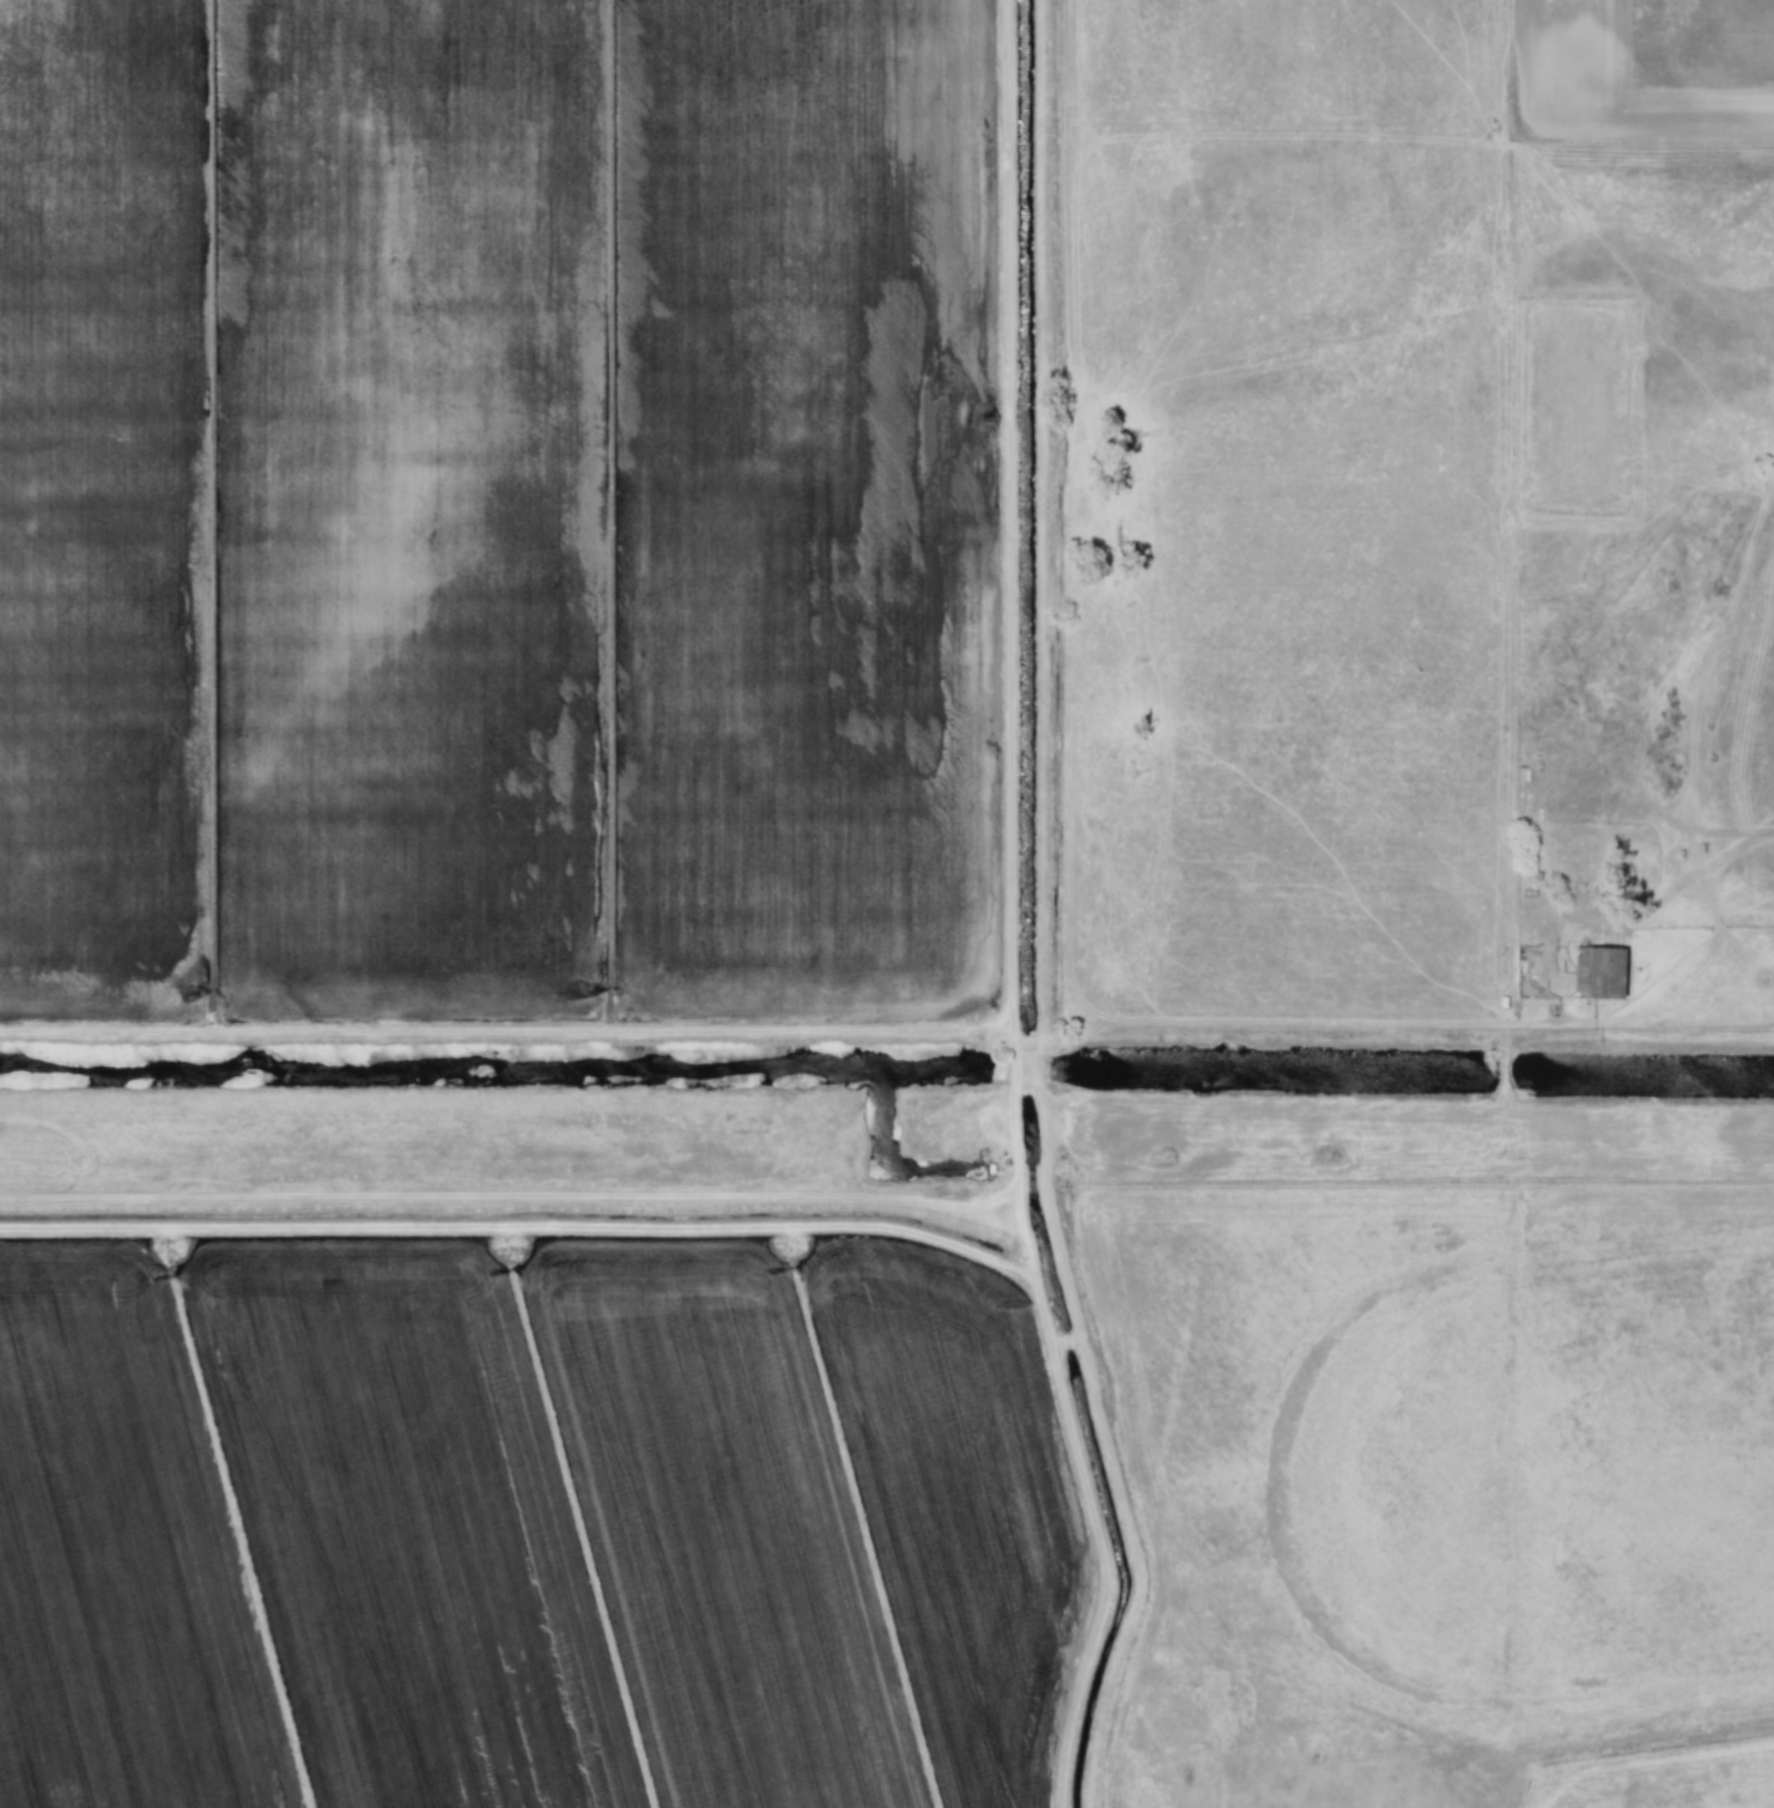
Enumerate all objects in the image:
road: (1705, 827)
road: (1711, 862)
building: (1606, 972)

